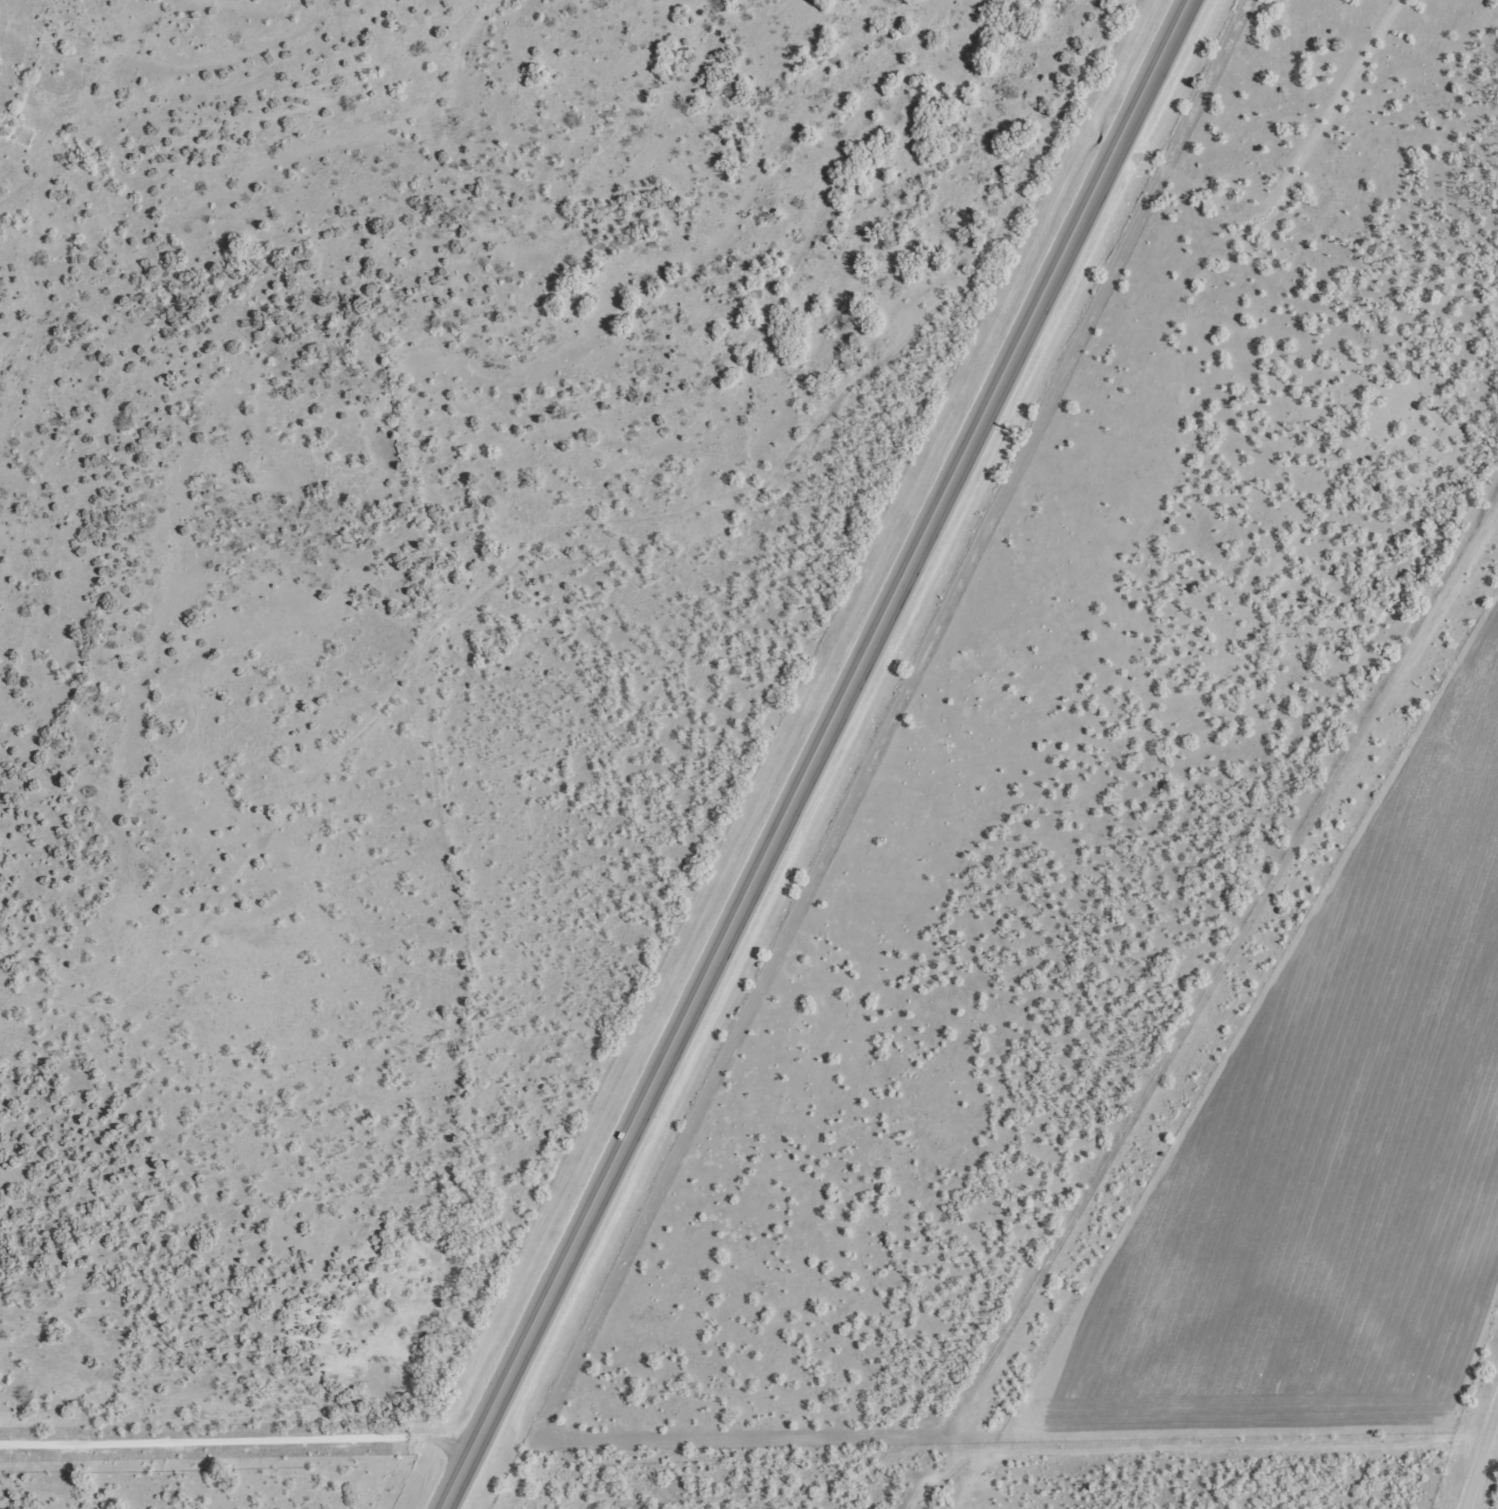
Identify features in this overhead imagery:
road: (818, 756)
railway: (1217, 1031)
road: (1054, 1417)
road: (238, 1447)
road: (1492, 1488)

